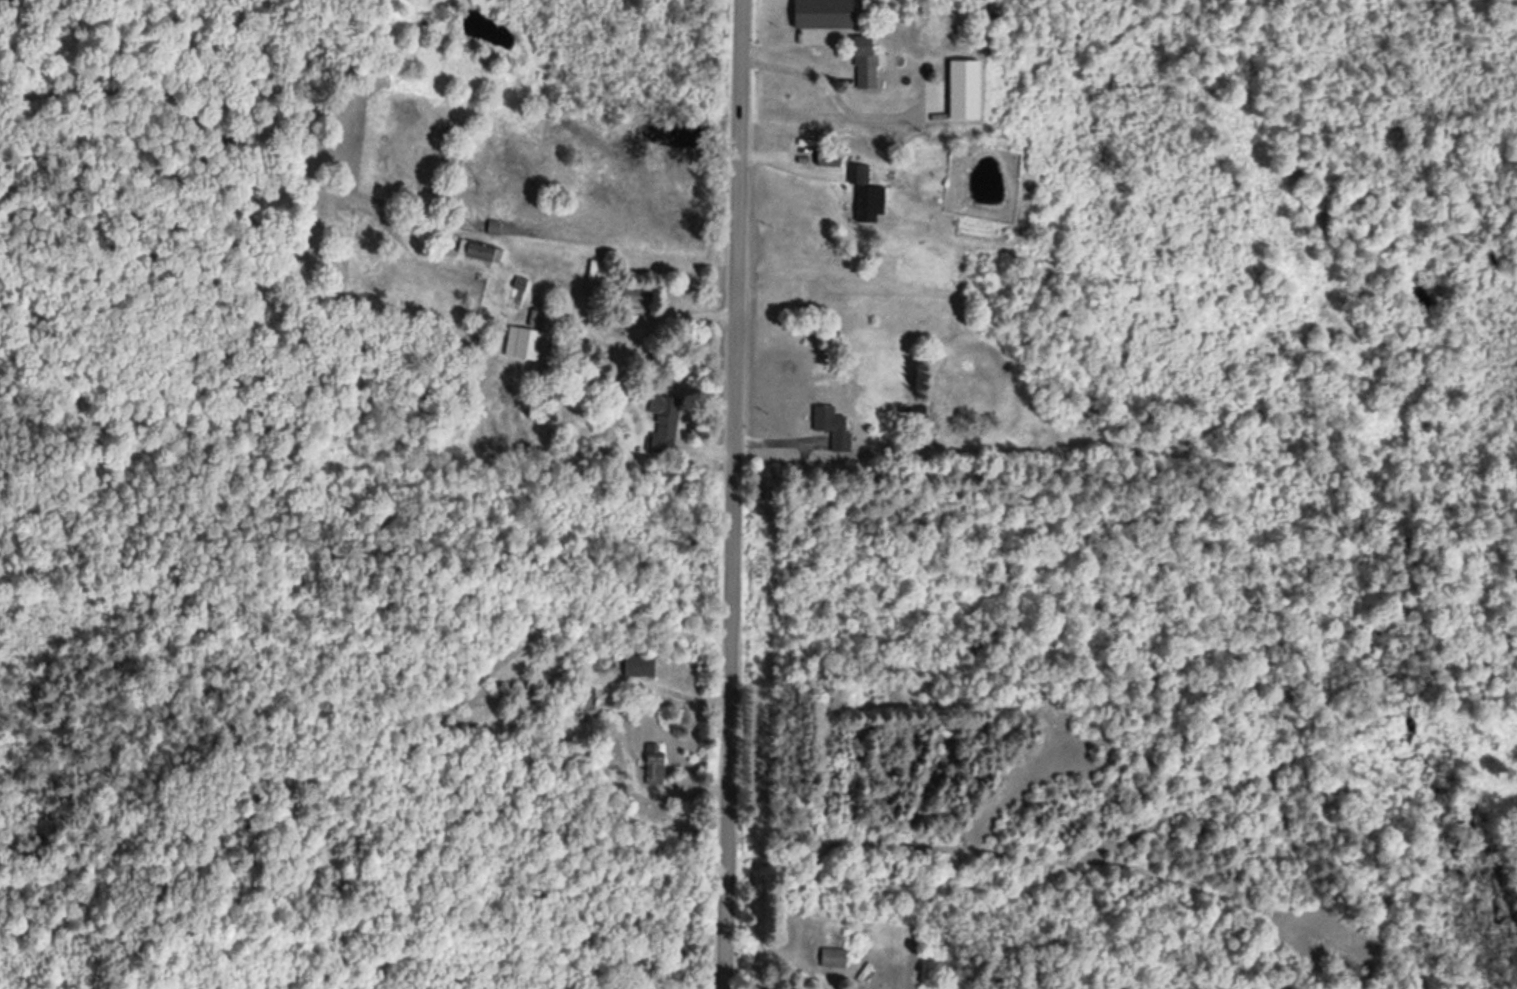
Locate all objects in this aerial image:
building: (815, 12)
building: (860, 61)
building: (862, 195)
building: (477, 249)
building: (661, 420)
building: (827, 425)
road: (734, 494)
building: (634, 664)
building: (650, 763)
building: (830, 956)

